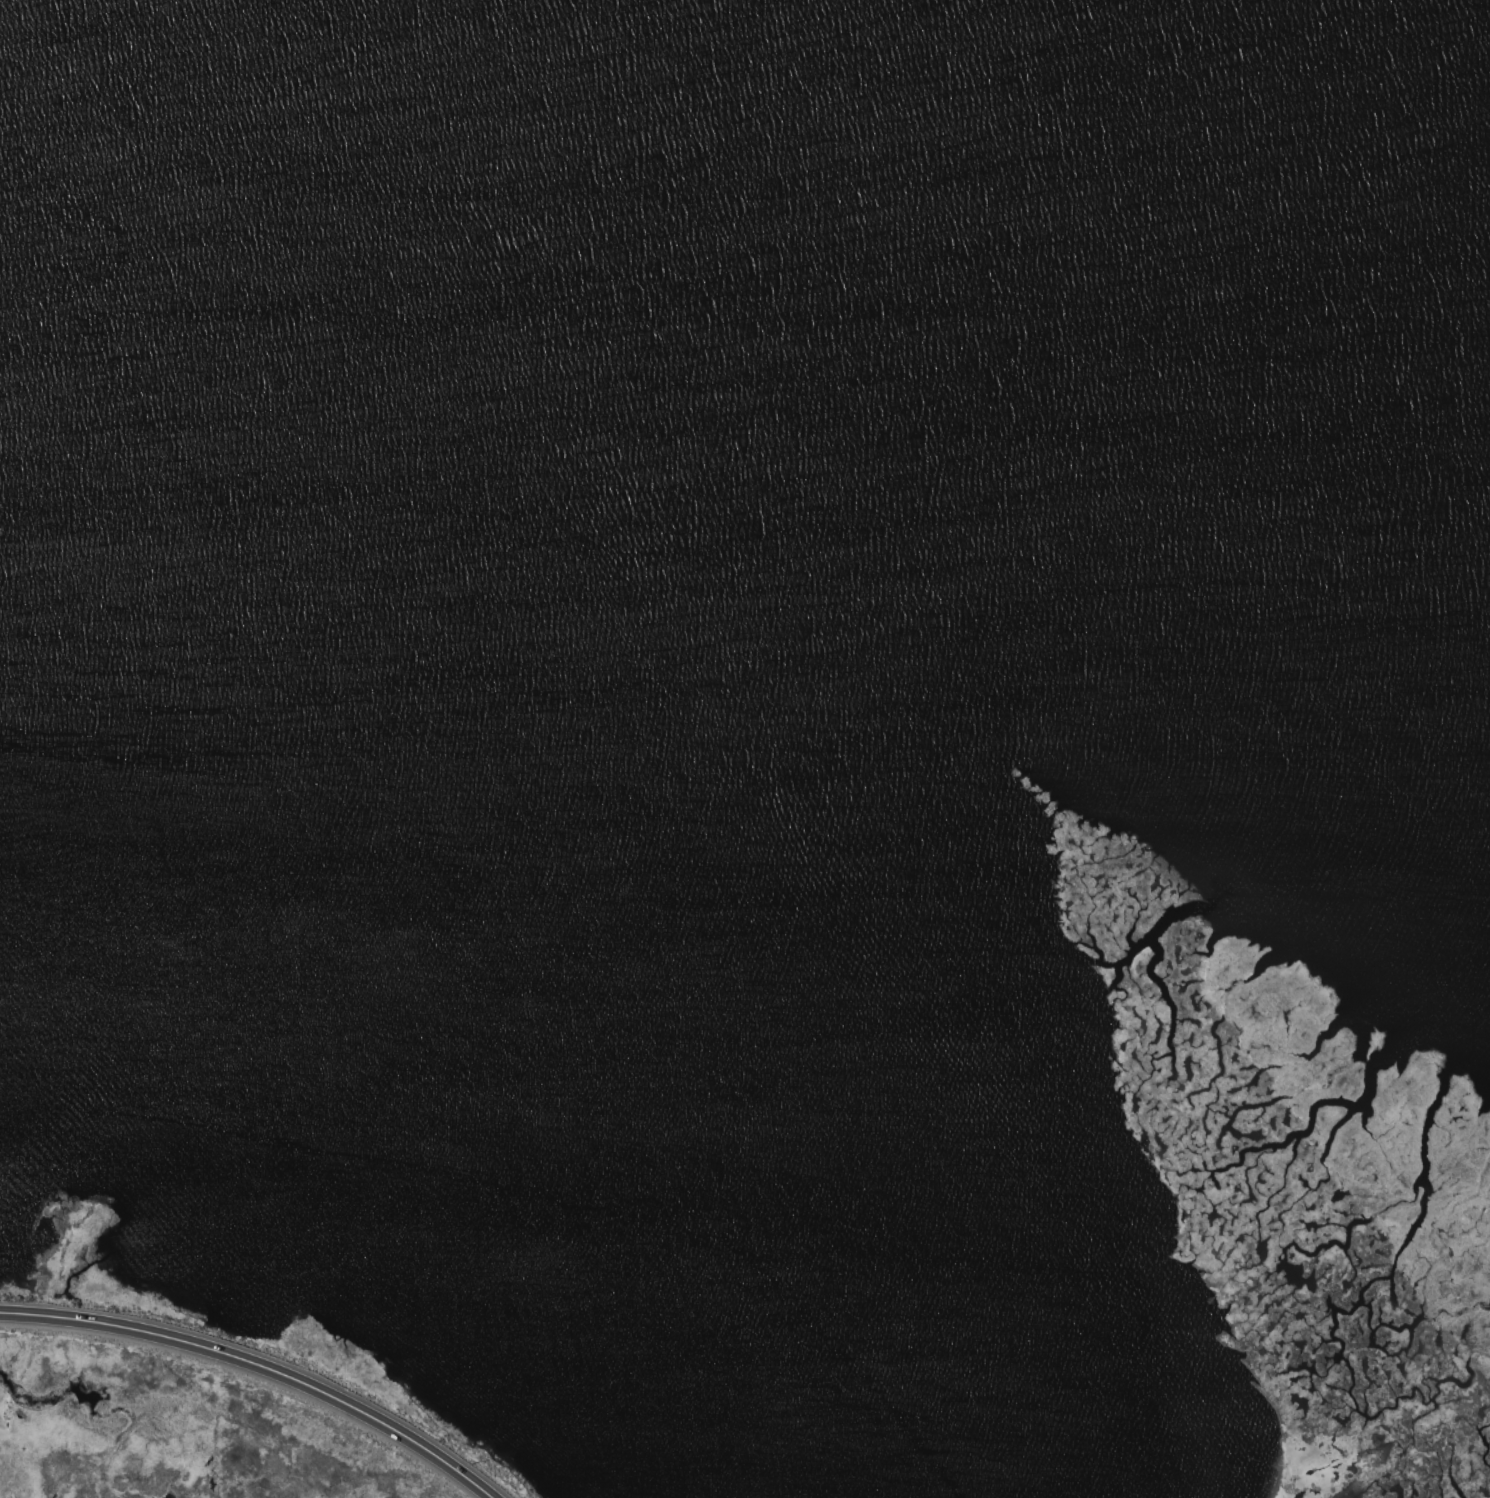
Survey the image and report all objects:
road: (262, 1364)
airport: (172, 1433)

